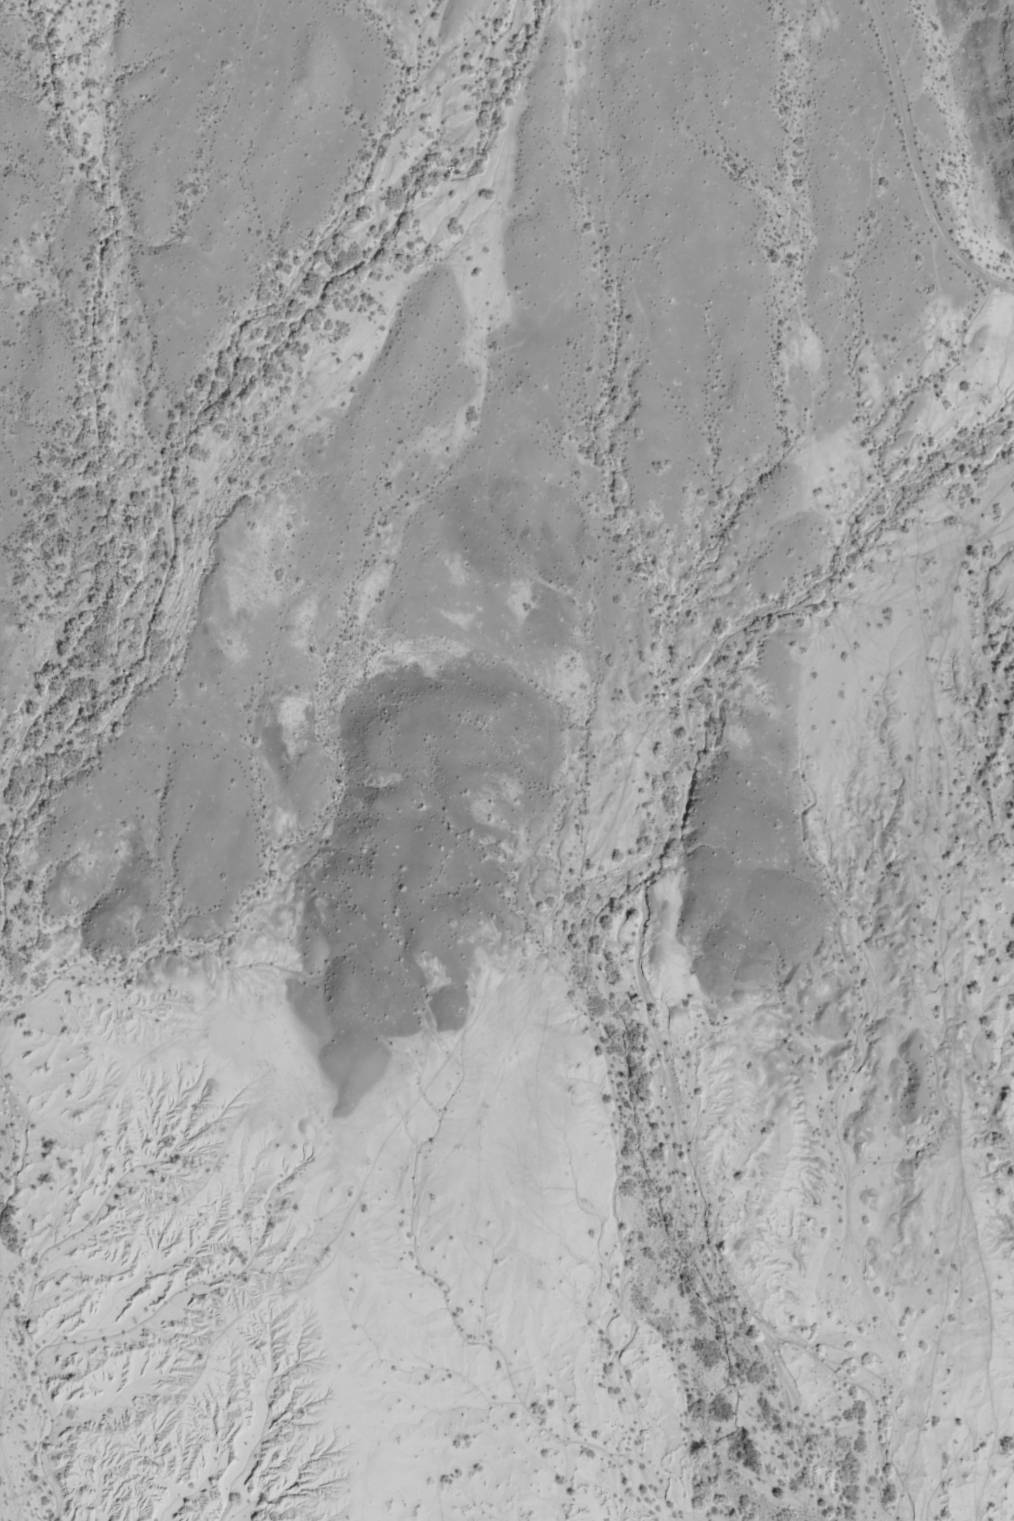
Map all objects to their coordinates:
road: (914, 158)

